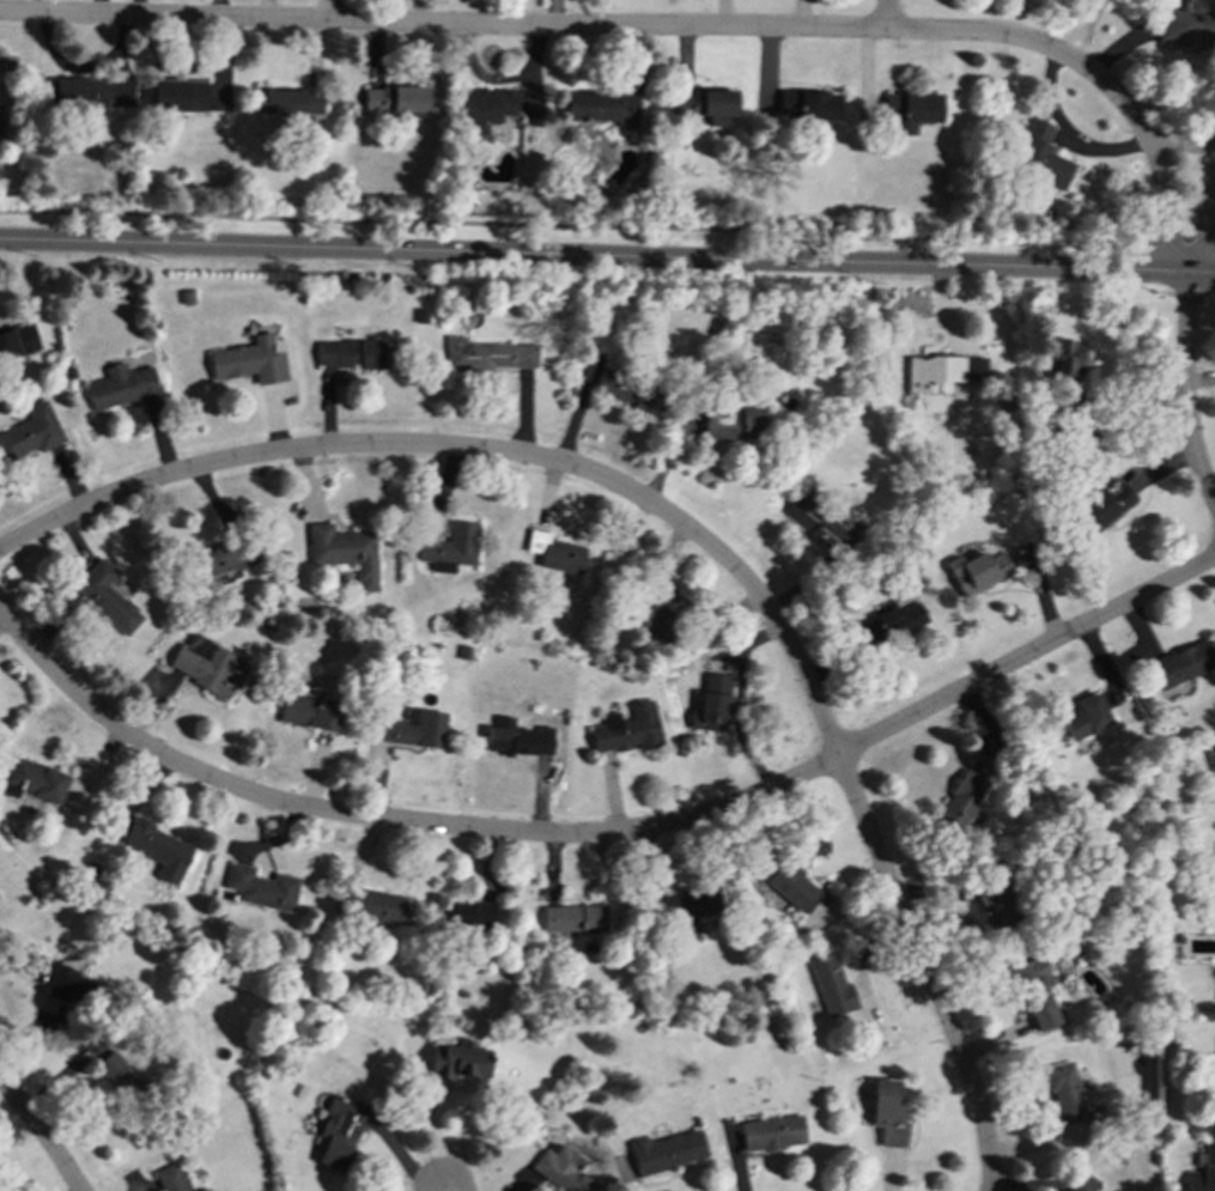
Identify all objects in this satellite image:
road: (887, 14)
road: (443, 25)
building: (1187, 29)
road: (1065, 57)
building: (80, 92)
building: (180, 95)
building: (395, 99)
building: (292, 102)
building: (715, 105)
building: (809, 105)
building: (602, 108)
building: (486, 109)
building: (910, 110)
building: (1041, 156)
road: (1166, 206)
road: (607, 227)
road: (1204, 227)
road: (607, 259)
building: (17, 341)
building: (350, 354)
building: (488, 354)
building: (249, 360)
building: (1067, 360)
building: (941, 372)
building: (121, 387)
building: (630, 389)
road: (1185, 393)
building: (733, 424)
building: (30, 432)
road: (481, 450)
building: (1104, 505)
building: (813, 521)
building: (450, 548)
building: (344, 551)
building: (555, 552)
building: (225, 555)
building: (978, 571)
building: (105, 598)
building: (652, 616)
building: (888, 624)
building: (202, 663)
building: (1183, 664)
building: (711, 704)
building: (310, 712)
building: (1086, 717)
building: (413, 728)
building: (627, 729)
building: (520, 741)
building: (1210, 759)
building: (35, 780)
building: (965, 794)
road: (603, 834)
building: (159, 850)
building: (788, 882)
building: (261, 887)
building: (992, 901)
building: (373, 906)
building: (681, 910)
building: (468, 916)
building: (572, 920)
road: (925, 971)
building: (60, 979)
building: (832, 986)
building: (1037, 992)
building: (458, 1062)
building: (117, 1072)
building: (1065, 1093)
building: (888, 1112)
building: (340, 1132)
building: (772, 1134)
road: (42, 1135)
building: (667, 1151)
building: (561, 1169)
building: (1202, 1172)
building: (171, 1178)
building: (1081, 1183)
road: (448, 1187)

